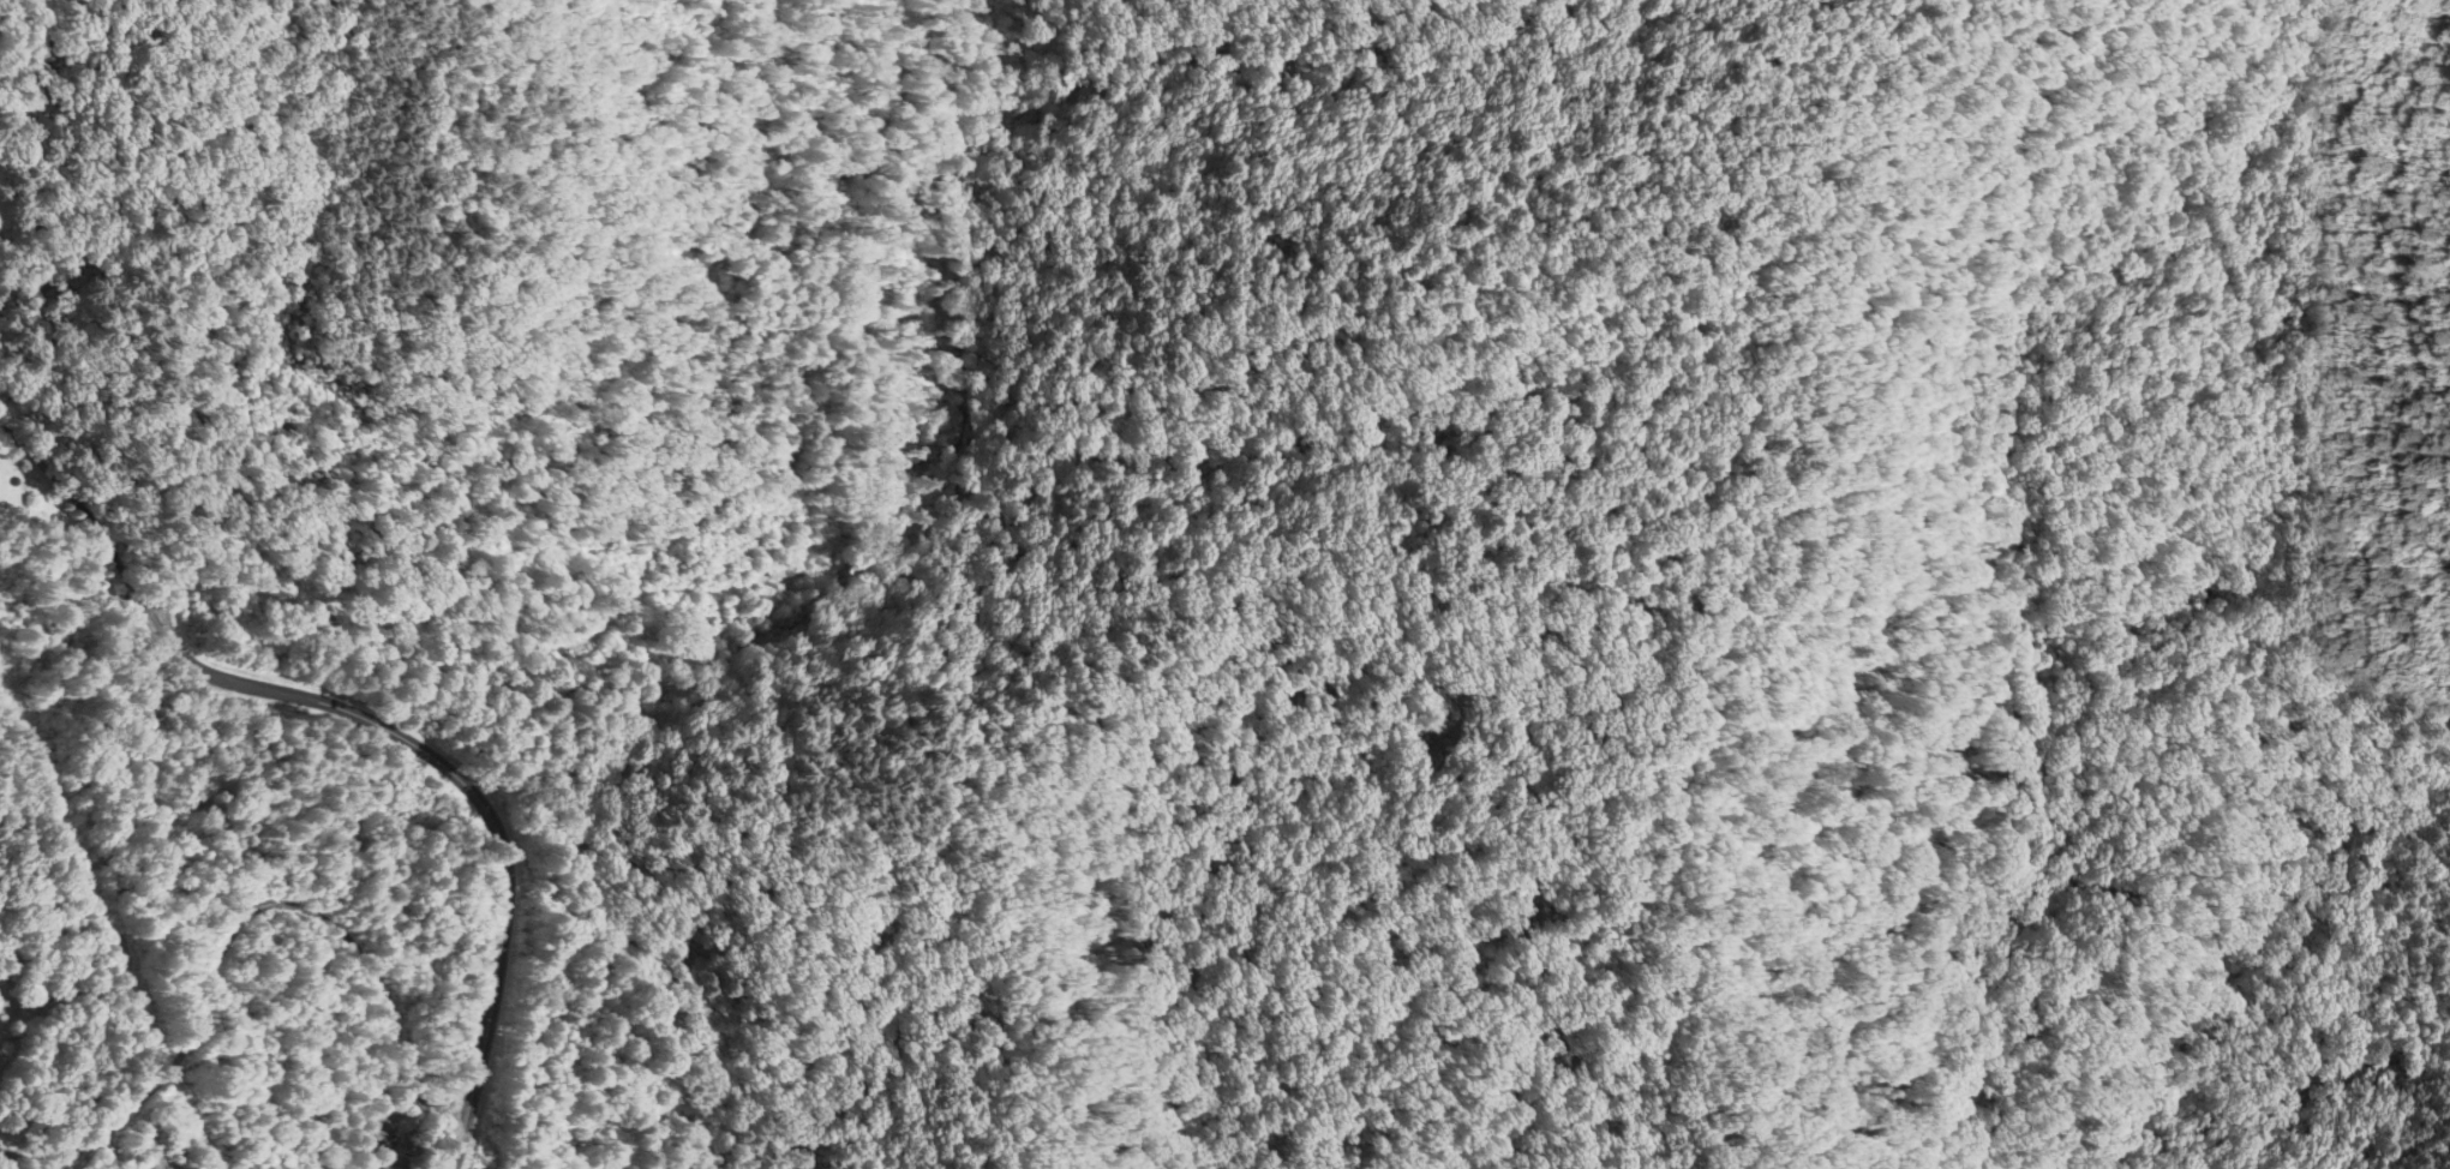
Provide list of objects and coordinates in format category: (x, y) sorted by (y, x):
road: (369, 754)

